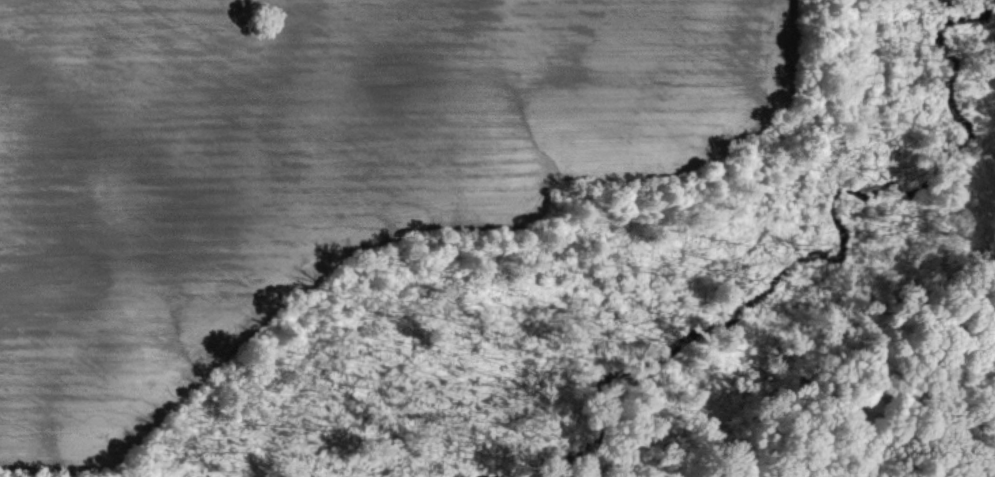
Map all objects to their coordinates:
crop: (305, 165)

